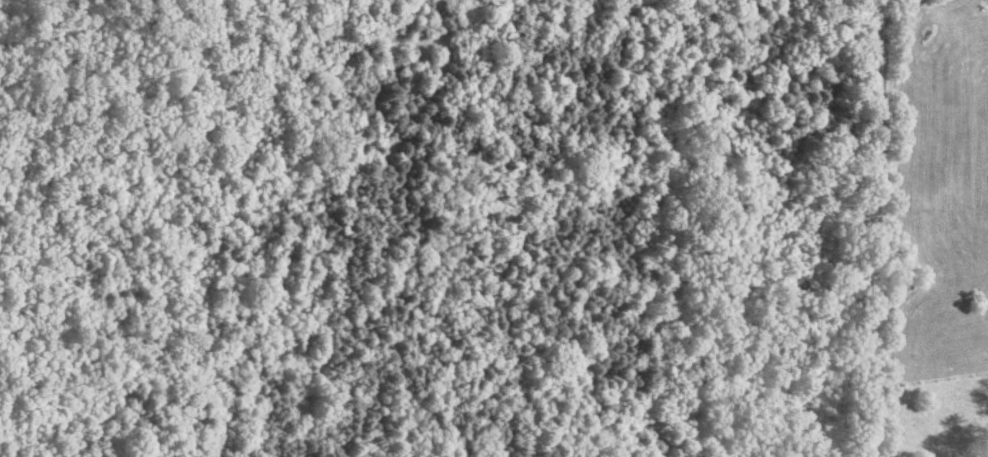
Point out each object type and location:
road: (863, 228)

